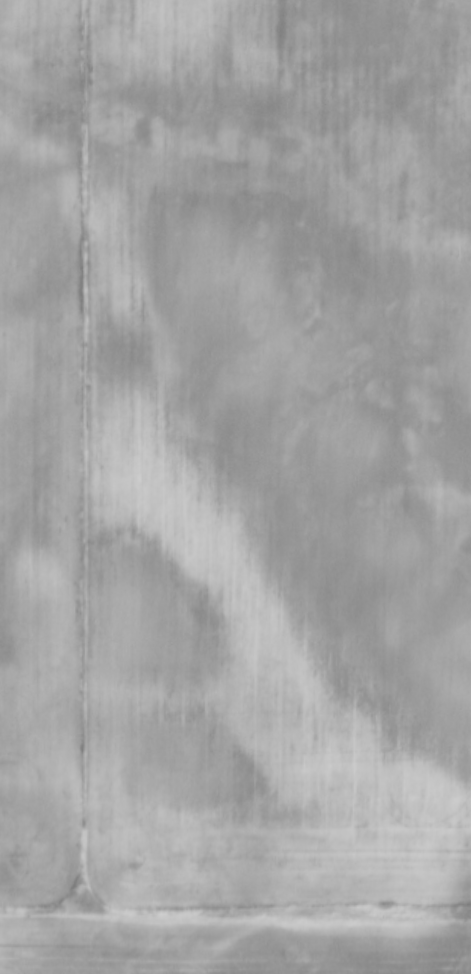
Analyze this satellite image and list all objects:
road: (235, 905)

